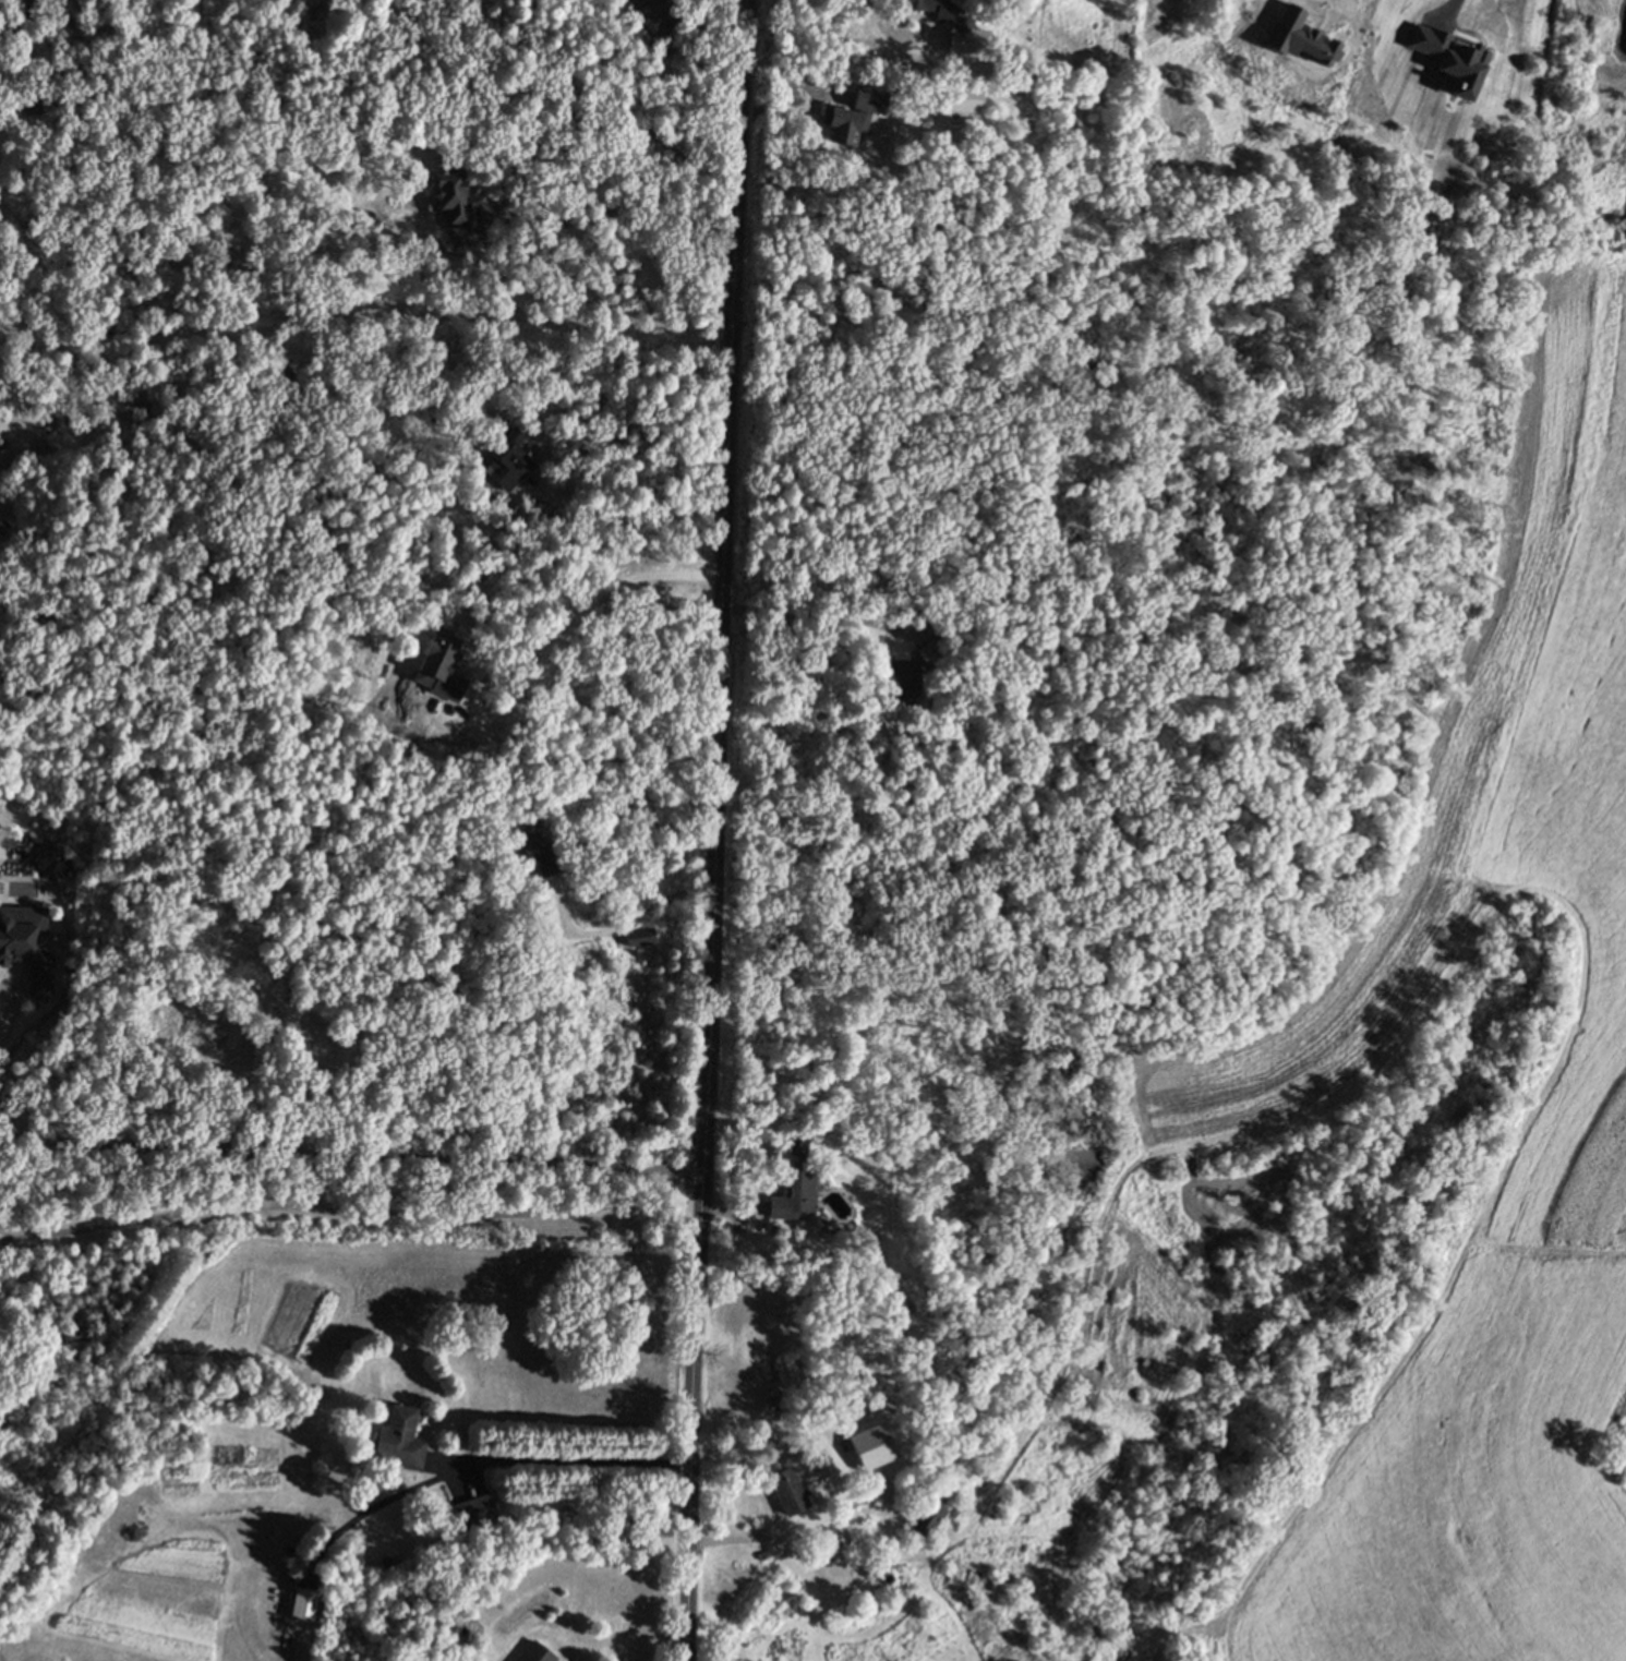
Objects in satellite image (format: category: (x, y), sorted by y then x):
building: (17, 0)
building: (33, 4)
building: (662, 9)
building: (951, 27)
road: (881, 36)
road: (361, 96)
building: (27, 101)
building: (853, 119)
road: (654, 134)
building: (449, 194)
road: (585, 222)
road: (358, 318)
building: (508, 457)
road: (630, 527)
building: (0, 535)
building: (0, 539)
road: (570, 615)
road: (811, 619)
building: (930, 652)
building: (895, 674)
road: (715, 830)
building: (534, 850)
building: (218, 929)
road: (622, 929)
building: (639, 937)
building: (28, 953)
crop: (1407, 961)
building: (252, 987)
building: (320, 1043)
road: (140, 1132)
building: (797, 1142)
road: (436, 1160)
building: (792, 1190)
road: (349, 1214)
road: (781, 1424)
building: (398, 1436)
building: (977, 1470)
road: (574, 1472)
building: (786, 1491)
building: (932, 1508)
building: (475, 1509)
road: (746, 1539)
building: (962, 1578)
building: (303, 1602)
building: (535, 1652)

